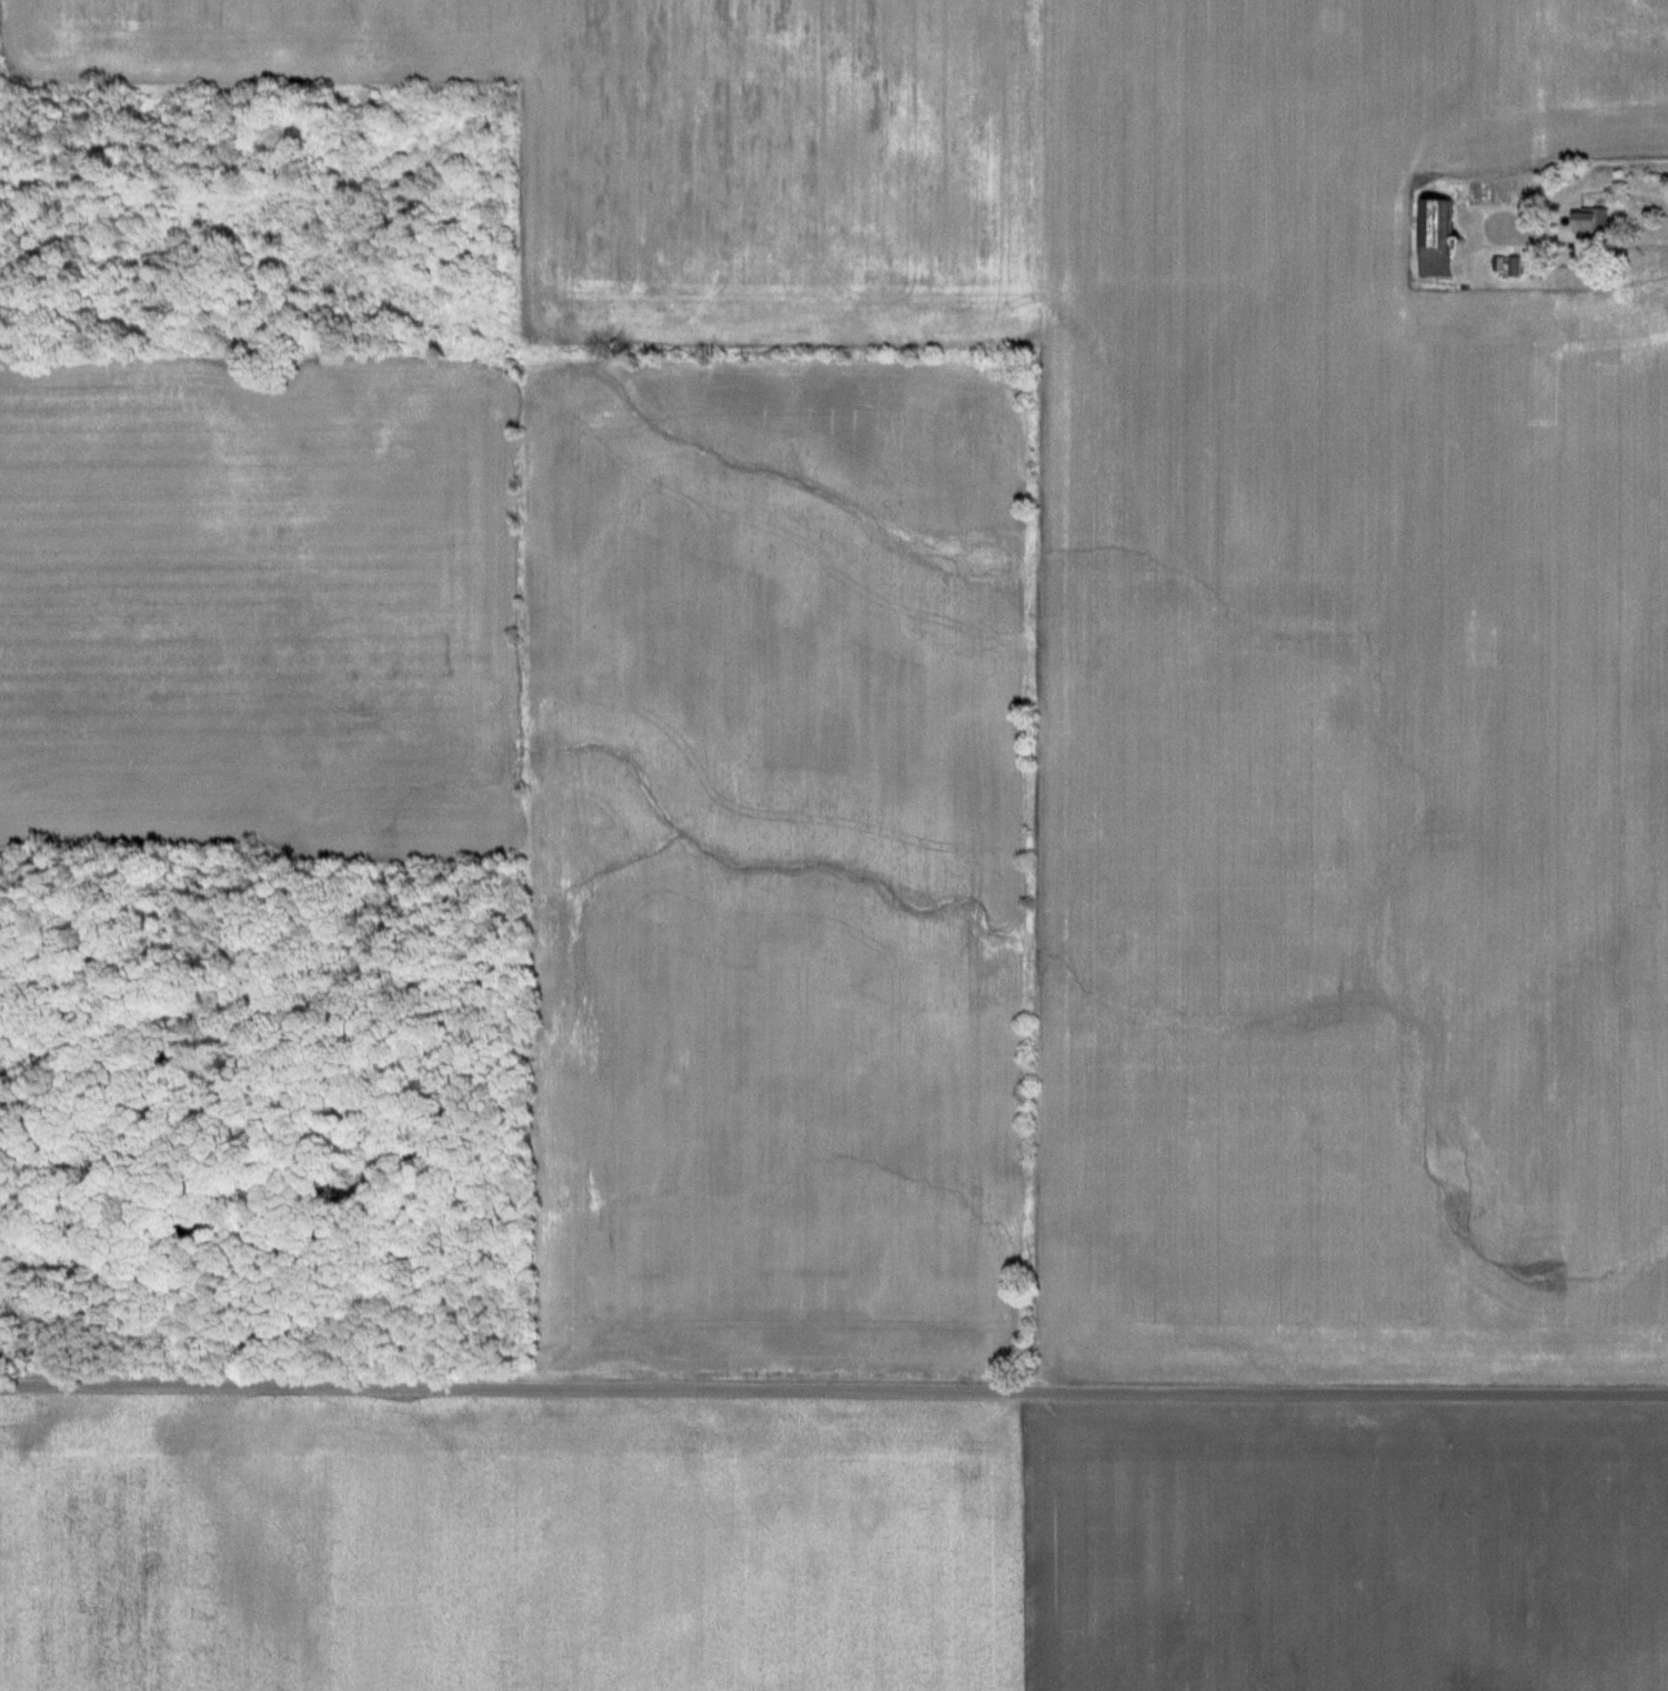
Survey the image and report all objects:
building: (1599, 221)
building: (1443, 238)
road: (1586, 247)
building: (1571, 333)
road: (834, 1389)

